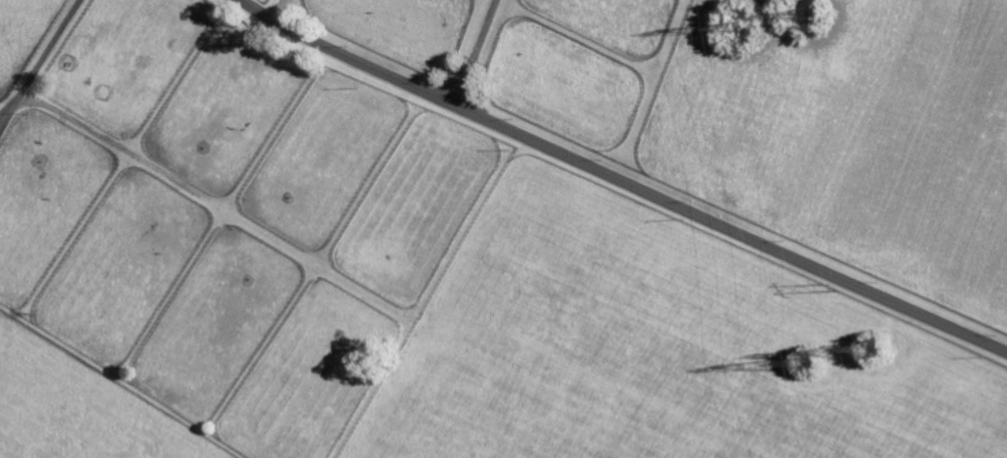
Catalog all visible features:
road: (279, 9)
power tower: (813, 12)
power tower: (747, 31)
road: (468, 51)
road: (37, 66)
road: (624, 180)
power tower: (830, 287)
power tower: (876, 344)
power tower: (820, 365)

